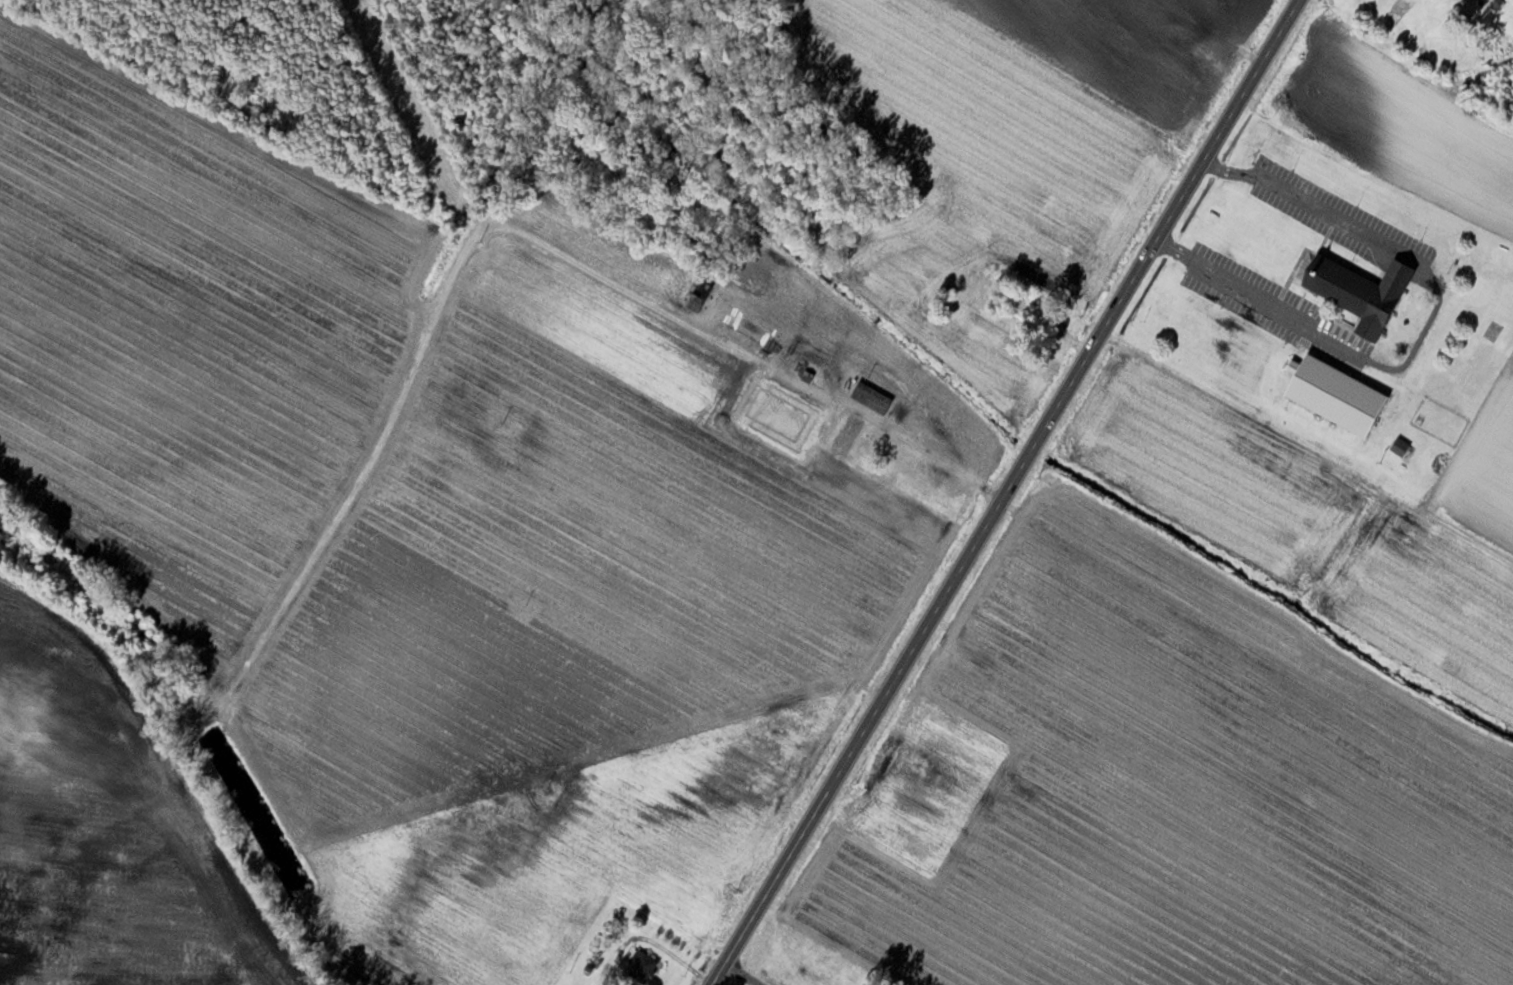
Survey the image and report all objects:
building: (1394, 12)
building: (1359, 287)
building: (1013, 298)
building: (943, 300)
road: (1422, 332)
building: (751, 343)
building: (1334, 394)
building: (870, 397)
building: (814, 403)
building: (847, 431)
road: (1005, 493)
building: (641, 965)

